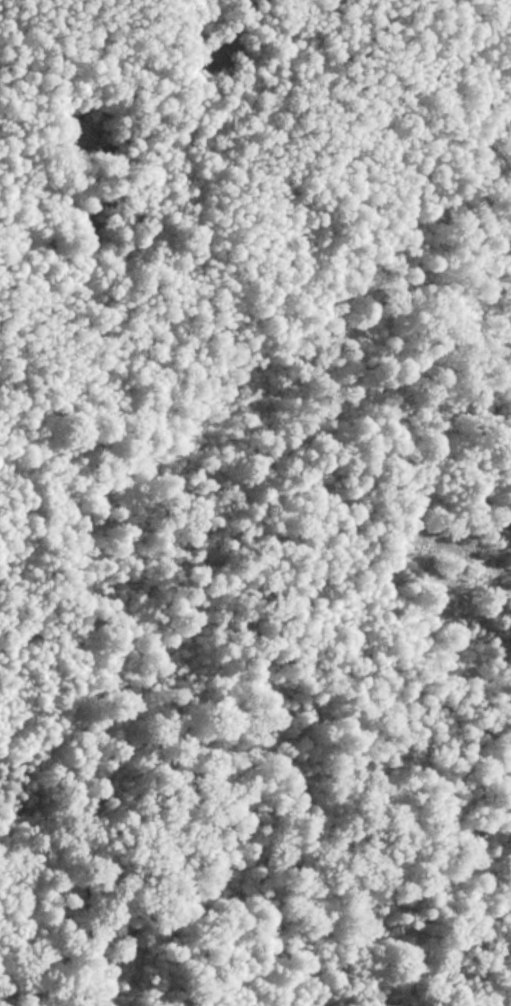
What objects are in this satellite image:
park: (255, 503)

